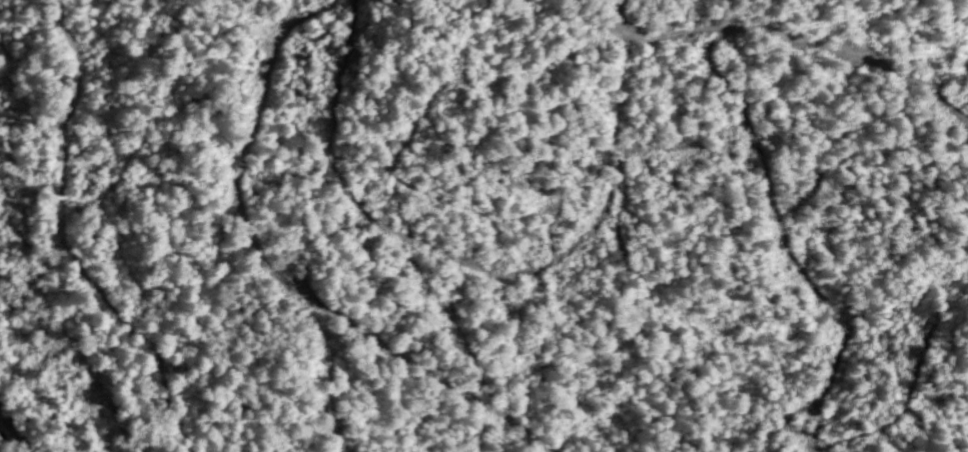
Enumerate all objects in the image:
road: (18, 426)

